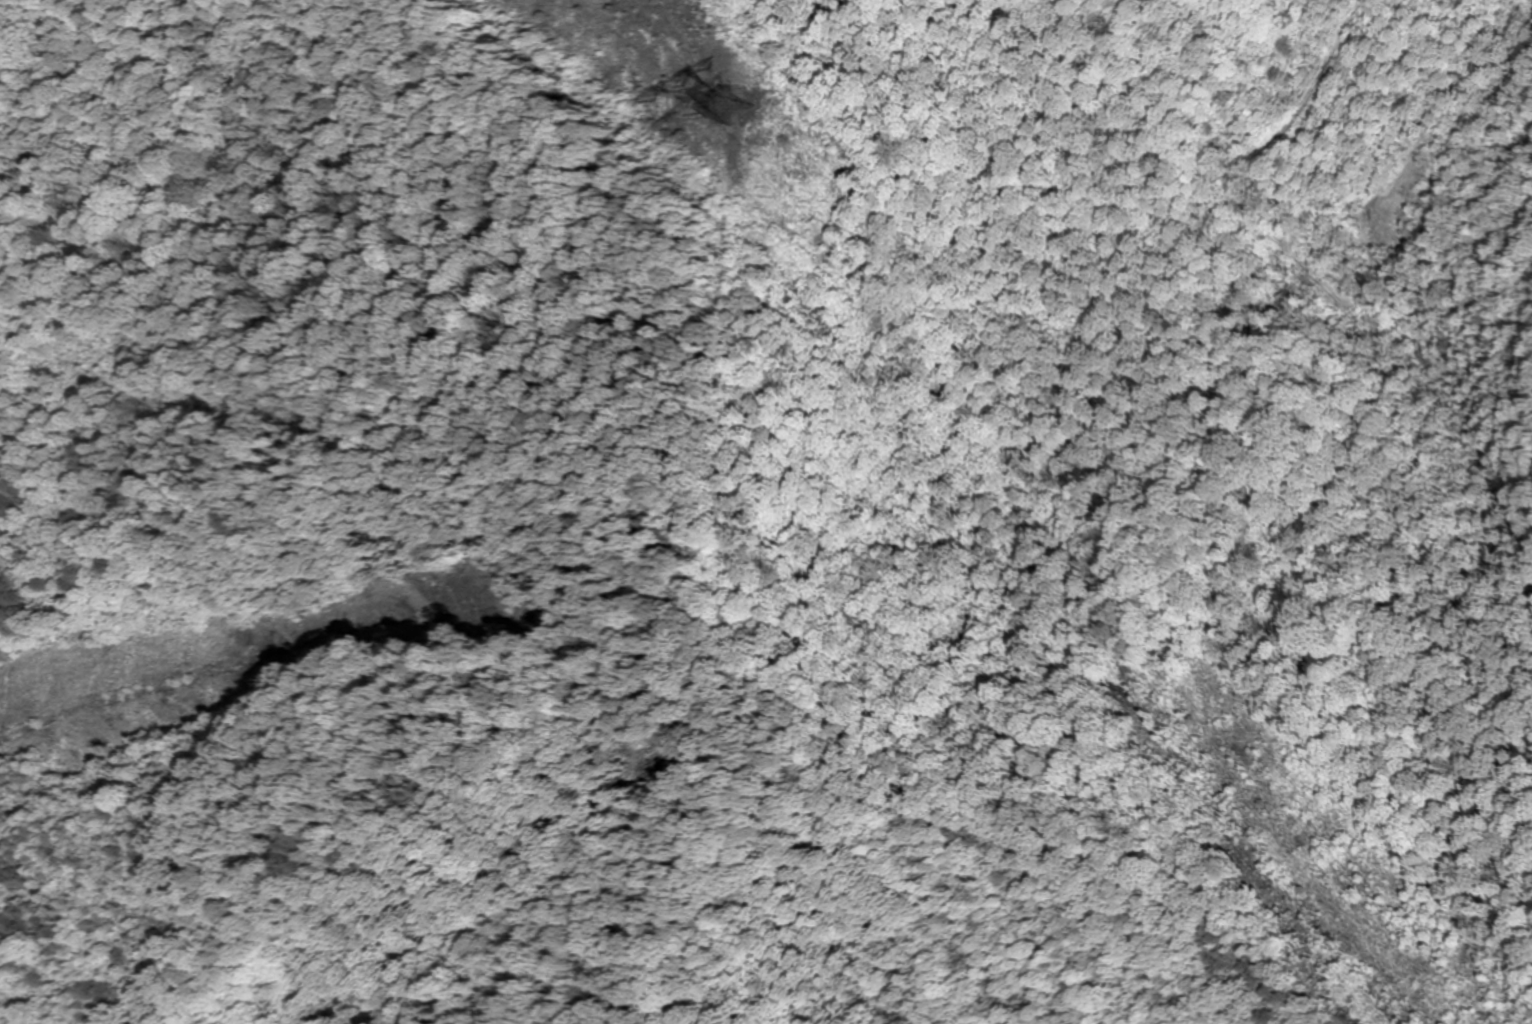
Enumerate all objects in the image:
power tower: (686, 112)

